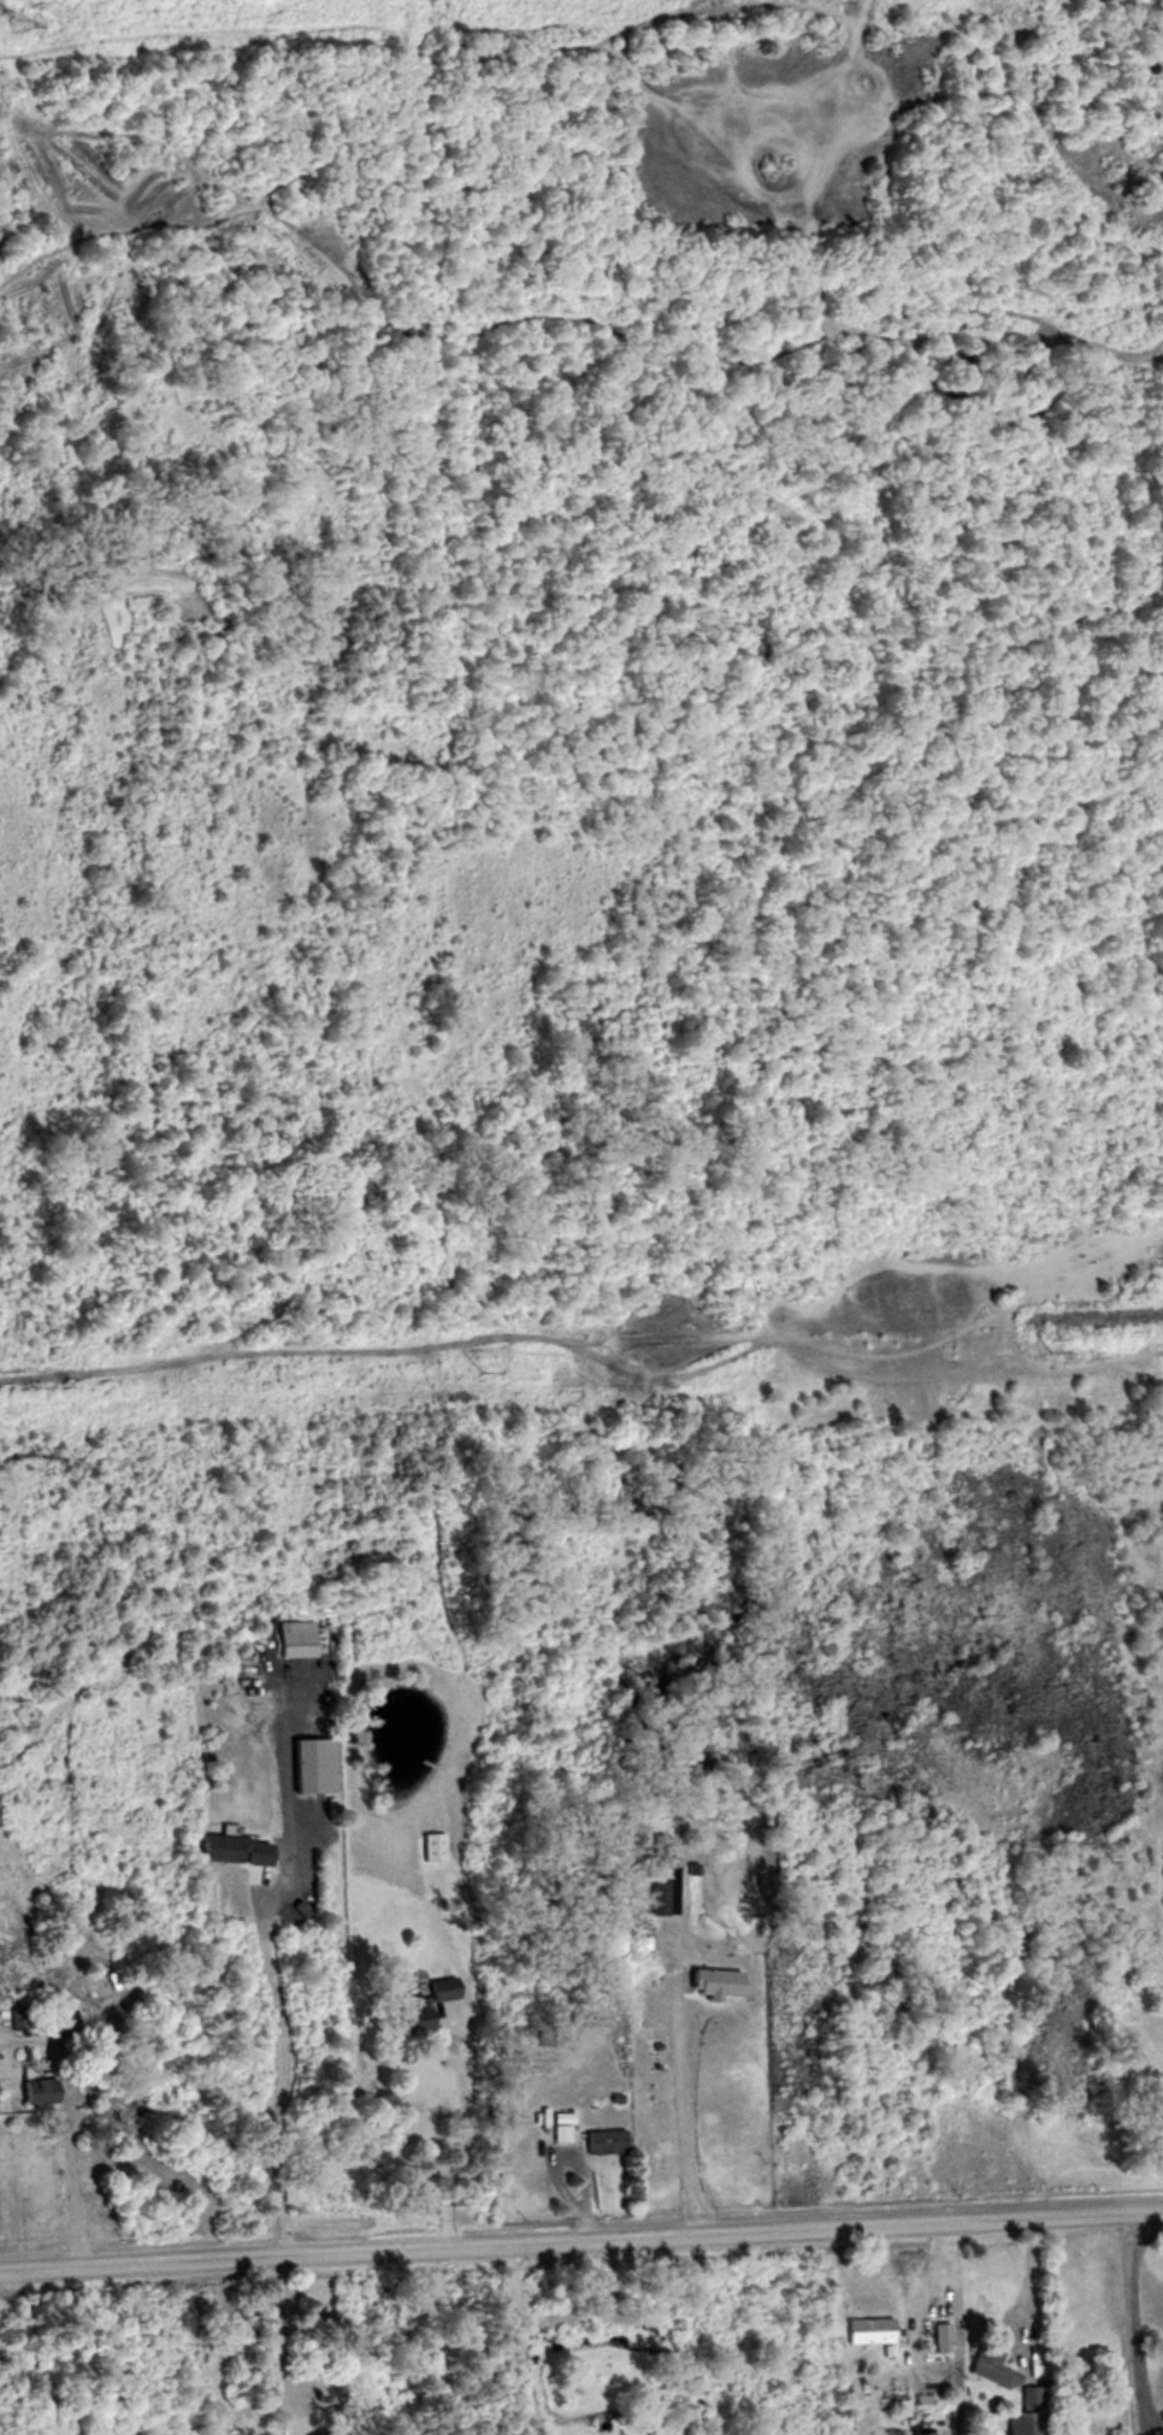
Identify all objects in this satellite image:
power tower: (12, 23)
road: (342, 167)
power tower: (1049, 1349)
power tower: (482, 1374)
building: (429, 1847)
building: (235, 1852)
building: (981, 1921)
building: (633, 1944)
building: (706, 1944)
building: (709, 1982)
building: (411, 2011)
road: (283, 2070)
building: (33, 2093)
road: (680, 2110)
road: (453, 2136)
building: (596, 2144)
road: (72, 2186)
road: (581, 2245)
road: (1027, 2289)
road: (1127, 2321)
building: (863, 2329)
building: (937, 2336)
road: (509, 2343)
building: (987, 2369)
building: (1023, 2413)
road: (1153, 2429)
road: (1145, 2430)
building: (336, 2434)

